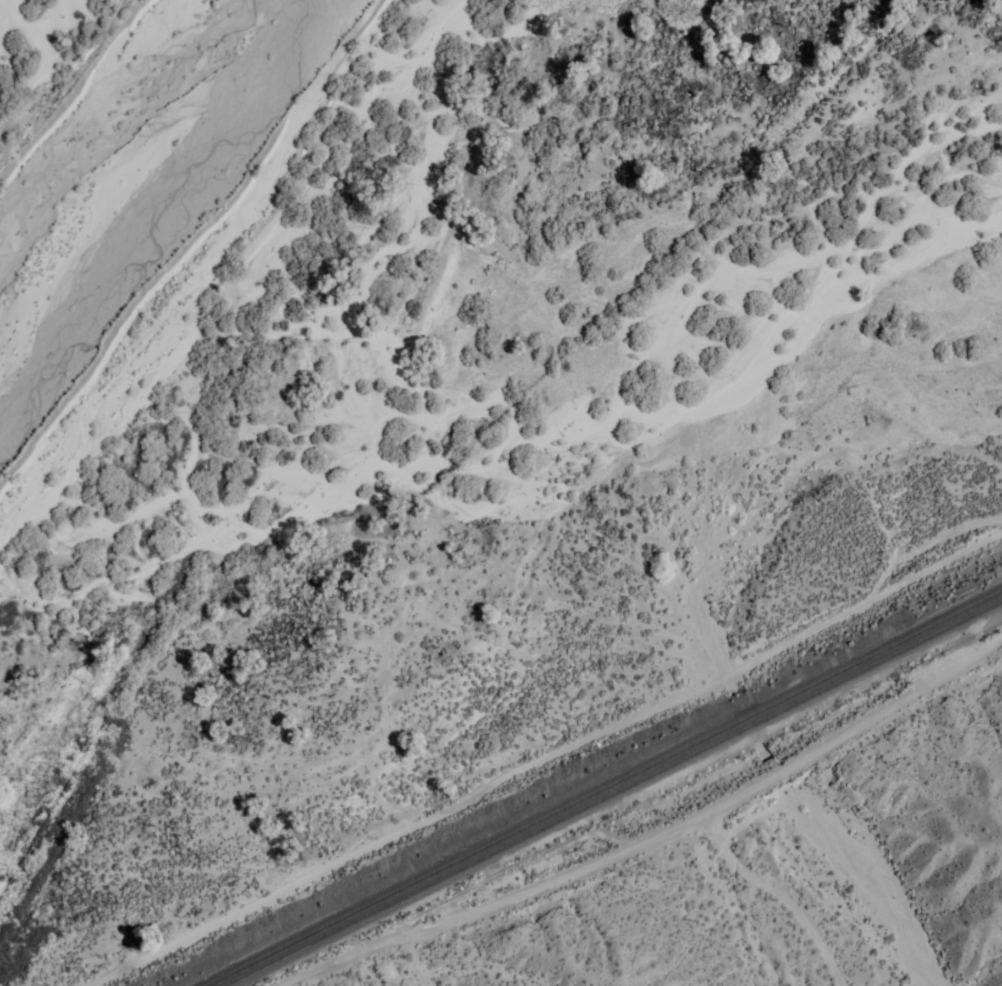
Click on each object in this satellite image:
river: (252, 253)
road: (547, 753)
railway: (602, 787)
railway: (612, 792)

